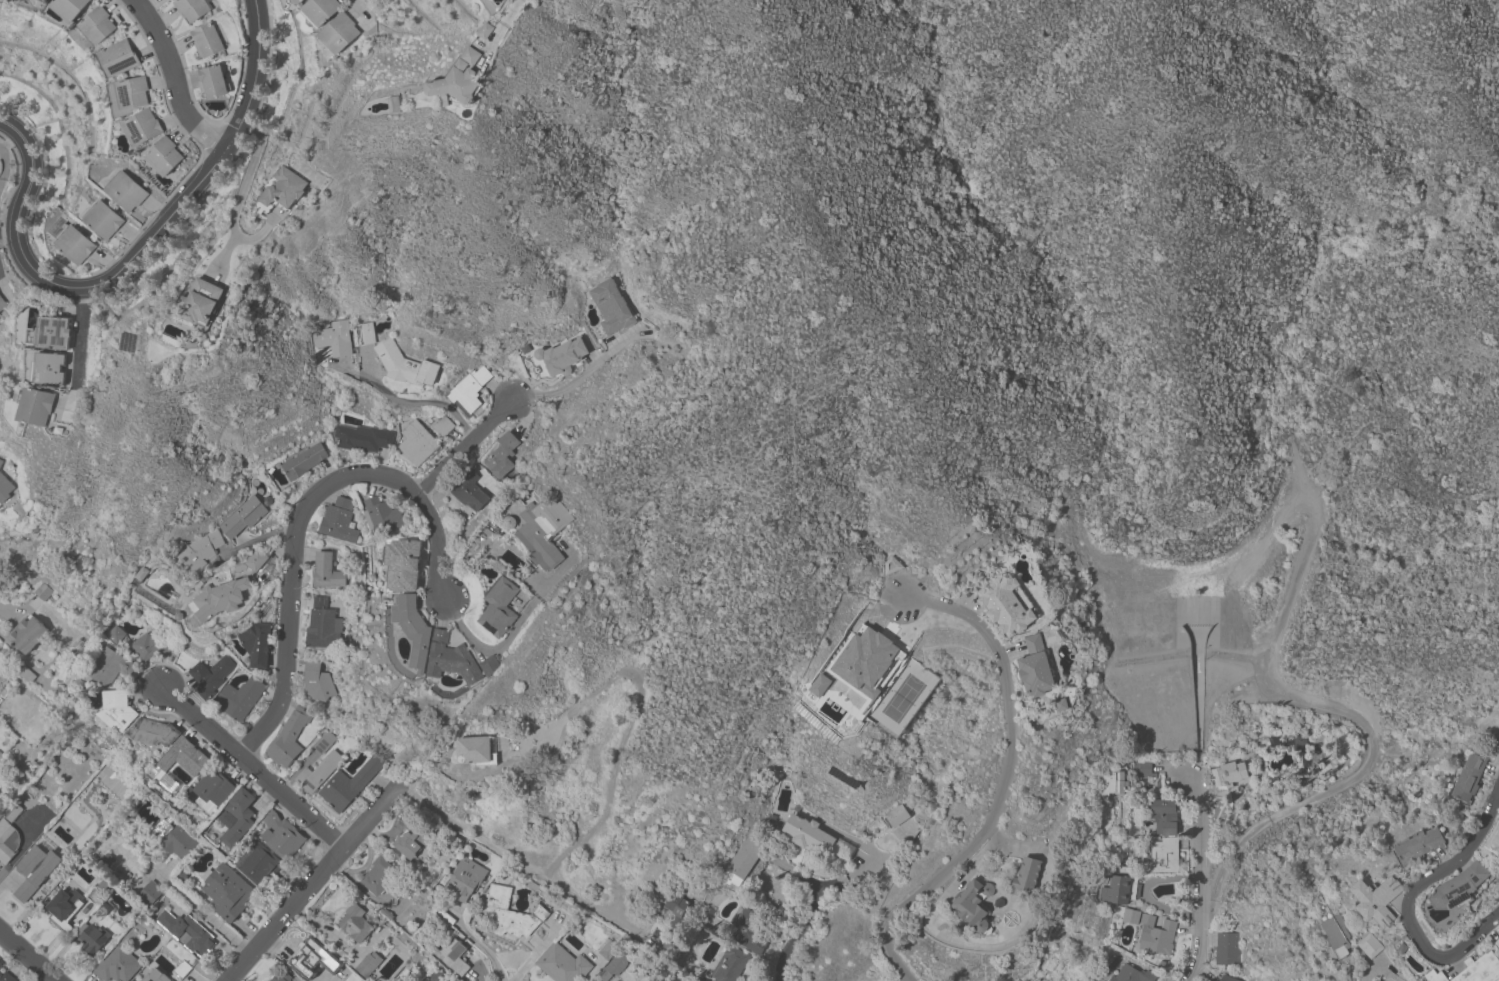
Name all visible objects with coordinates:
building: (43, 0)
building: (44, 0)
building: (296, 2)
building: (69, 8)
building: (192, 8)
building: (319, 11)
road: (364, 11)
building: (97, 26)
building: (486, 31)
building: (337, 34)
building: (206, 40)
building: (119, 58)
road: (169, 80)
building: (460, 80)
building: (212, 82)
building: (133, 93)
building: (141, 127)
building: (163, 156)
building: (285, 189)
building: (125, 191)
road: (237, 206)
building: (102, 219)
building: (74, 245)
road: (138, 250)
building: (203, 302)
building: (2, 304)
building: (611, 307)
building: (52, 333)
building: (362, 334)
road: (78, 338)
building: (334, 338)
building: (560, 357)
building: (404, 365)
building: (49, 368)
road: (570, 384)
building: (469, 389)
road: (413, 403)
building: (37, 406)
building: (443, 426)
building: (363, 438)
building: (416, 442)
road: (467, 449)
building: (501, 455)
building: (0, 462)
building: (303, 462)
building: (4, 489)
building: (469, 492)
building: (382, 516)
building: (243, 517)
road: (295, 521)
building: (338, 521)
building: (540, 533)
building: (198, 552)
building: (256, 560)
building: (403, 564)
building: (891, 565)
building: (268, 566)
building: (326, 571)
building: (42, 592)
building: (218, 600)
building: (1006, 605)
building: (499, 607)
road: (17, 611)
building: (320, 624)
building: (414, 629)
building: (27, 633)
building: (115, 635)
building: (256, 644)
building: (151, 645)
road: (498, 651)
building: (452, 659)
building: (866, 661)
building: (490, 665)
building: (109, 668)
building: (1036, 668)
building: (26, 674)
building: (209, 676)
building: (318, 683)
building: (818, 685)
building: (239, 698)
building: (1061, 704)
building: (117, 710)
building: (153, 732)
road: (1370, 737)
building: (288, 739)
building: (1299, 740)
building: (323, 742)
building: (475, 751)
building: (183, 758)
road: (252, 770)
building: (1144, 770)
building: (318, 772)
building: (1228, 774)
building: (1469, 779)
road: (1007, 783)
building: (1109, 783)
building: (349, 784)
building: (212, 790)
building: (11, 811)
road: (611, 814)
building: (896, 816)
building: (1163, 816)
building: (237, 817)
building: (807, 834)
building: (281, 836)
building: (413, 838)
building: (8, 841)
building: (178, 842)
building: (1494, 842)
building: (1418, 846)
road: (25, 855)
building: (1162, 857)
road: (1200, 859)
building: (742, 861)
building: (258, 863)
road: (871, 868)
building: (34, 871)
building: (379, 876)
building: (1026, 877)
building: (465, 880)
road: (313, 883)
building: (1459, 887)
building: (1115, 891)
building: (227, 892)
building: (149, 894)
building: (1376, 900)
building: (973, 904)
road: (1409, 904)
building: (64, 909)
road: (601, 911)
building: (677, 912)
road: (206, 913)
building: (509, 913)
building: (1130, 916)
building: (355, 923)
building: (747, 928)
building: (186, 932)
building: (1156, 935)
building: (1338, 935)
road: (798, 936)
building: (92, 939)
road: (998, 943)
building: (1497, 943)
road: (481, 946)
building: (1370, 946)
road: (539, 948)
building: (666, 949)
building: (1226, 949)
building: (606, 950)
building: (455, 956)
road: (27, 957)
building: (312, 957)
road: (1198, 960)
building: (562, 963)
building: (368, 964)
building: (729, 964)
building: (0, 965)
building: (117, 966)
building: (612, 966)
building: (182, 969)
building: (1479, 969)
building: (1132, 974)
building: (435, 975)
building: (154, 976)
building: (1434, 976)
building: (6, 977)
building: (279, 977)
building: (1390, 977)
building: (1398, 977)
building: (1227, 978)

